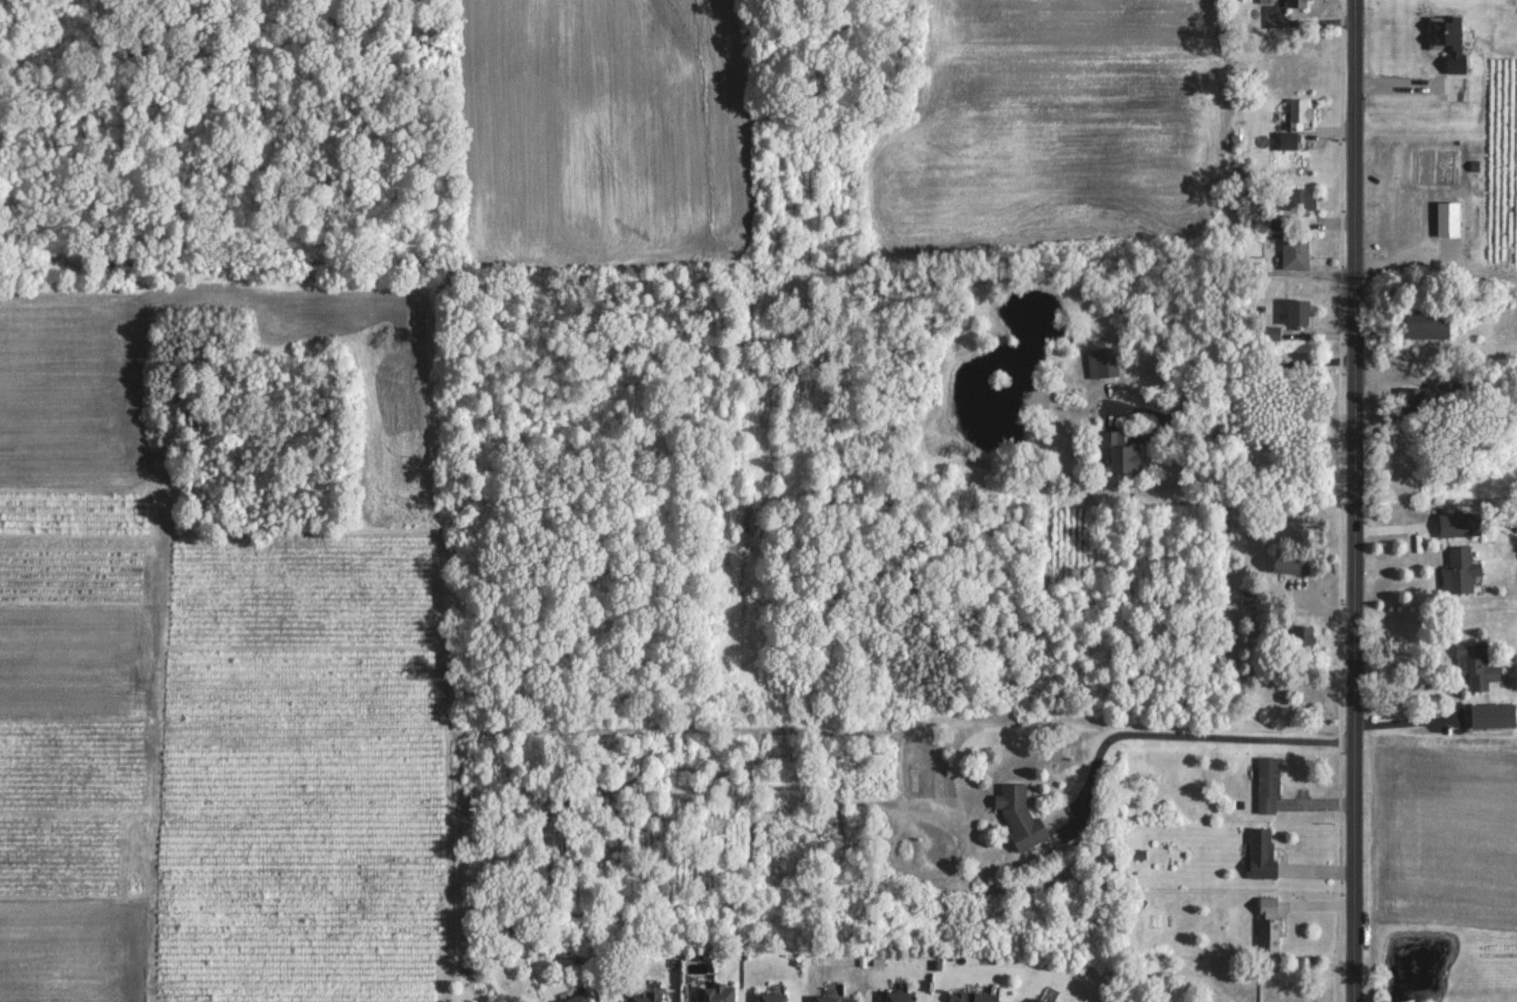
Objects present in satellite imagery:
building: (1268, 0)
building: (1298, 3)
road: (1412, 84)
building: (1301, 114)
building: (1288, 139)
building: (1302, 198)
building: (1295, 251)
building: (1297, 312)
building: (1427, 324)
road: (1248, 380)
building: (1119, 451)
road: (1360, 501)
building: (1460, 524)
road: (1415, 541)
building: (1289, 563)
building: (1461, 571)
building: (1477, 665)
road: (1452, 696)
road: (1385, 699)
building: (1493, 715)
road: (1203, 734)
building: (1268, 785)
building: (1019, 816)
building: (1262, 852)
building: (1269, 926)
building: (715, 993)
building: (643, 994)
building: (898, 996)
building: (973, 996)
building: (772, 997)
building: (577, 998)
building: (835, 998)
building: (1043, 999)

